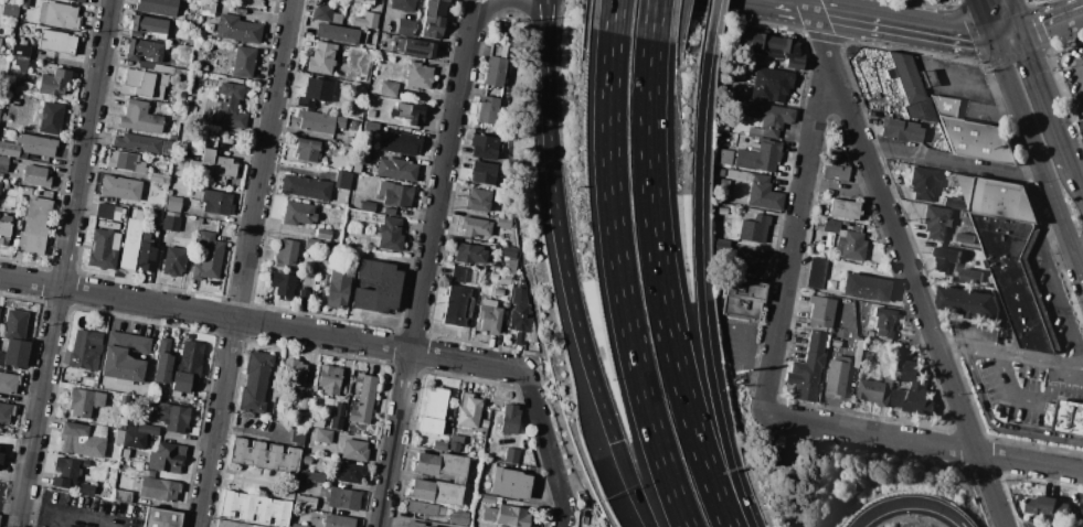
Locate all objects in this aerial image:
building: (1033, 0)
building: (75, 1)
building: (362, 2)
building: (23, 3)
road: (516, 3)
road: (784, 4)
building: (402, 6)
building: (157, 7)
building: (9, 9)
building: (206, 9)
road: (470, 11)
road: (819, 11)
building: (321, 12)
building: (42, 13)
road: (1082, 14)
building: (61, 17)
building: (433, 18)
road: (613, 18)
road: (854, 18)
road: (1011, 18)
building: (336, 19)
road: (548, 19)
road: (984, 20)
building: (367, 21)
road: (658, 22)
road: (710, 26)
building: (148, 28)
building: (404, 28)
road: (1050, 28)
building: (237, 30)
road: (1041, 31)
road: (971, 32)
road: (936, 33)
building: (338, 34)
traffic signals: (1019, 36)
road: (1005, 37)
traffic signals: (991, 40)
building: (0, 41)
building: (56, 42)
building: (769, 44)
building: (8, 46)
building: (412, 47)
building: (20, 51)
building: (142, 51)
building: (497, 52)
road: (548, 56)
building: (321, 58)
building: (20, 60)
road: (1018, 60)
building: (243, 61)
building: (187, 66)
building: (343, 66)
building: (203, 67)
building: (493, 72)
building: (12, 73)
building: (417, 76)
building: (362, 78)
road: (971, 82)
building: (53, 83)
building: (144, 84)
building: (771, 85)
building: (342, 87)
building: (910, 87)
building: (387, 89)
building: (315, 93)
road: (1042, 103)
road: (1016, 105)
building: (231, 106)
building: (187, 109)
building: (487, 110)
building: (407, 114)
building: (370, 115)
building: (139, 118)
building: (768, 118)
building: (51, 119)
building: (318, 122)
building: (353, 125)
building: (926, 125)
building: (1081, 125)
building: (371, 127)
building: (900, 130)
building: (754, 131)
building: (973, 136)
building: (323, 138)
building: (332, 140)
building: (137, 143)
building: (400, 143)
building: (28, 147)
building: (484, 147)
building: (306, 150)
building: (362, 155)
building: (724, 158)
building: (761, 158)
road: (952, 161)
building: (125, 162)
building: (2, 163)
building: (213, 164)
building: (835, 166)
building: (355, 168)
building: (396, 170)
building: (482, 172)
building: (721, 173)
building: (737, 175)
building: (0, 176)
building: (35, 176)
building: (158, 179)
building: (342, 180)
building: (922, 183)
building: (0, 185)
building: (723, 186)
building: (305, 187)
road: (1075, 187)
building: (119, 189)
building: (26, 191)
building: (169, 193)
building: (394, 194)
building: (763, 194)
building: (198, 195)
building: (498, 196)
building: (999, 198)
building: (173, 201)
building: (478, 201)
building: (215, 202)
building: (954, 204)
building: (153, 205)
building: (367, 206)
building: (172, 208)
building: (842, 209)
building: (389, 212)
building: (722, 212)
building: (109, 213)
building: (171, 214)
building: (297, 214)
building: (155, 215)
building: (503, 223)
building: (936, 223)
building: (169, 224)
building: (819, 224)
road: (1062, 225)
building: (830, 226)
building: (33, 227)
building: (475, 227)
building: (754, 228)
building: (4, 229)
building: (322, 234)
building: (389, 234)
building: (965, 238)
building: (129, 244)
building: (311, 244)
road: (794, 244)
building: (353, 245)
building: (849, 246)
building: (722, 247)
road: (564, 248)
building: (103, 249)
building: (509, 252)
building: (145, 254)
building: (285, 254)
building: (469, 254)
building: (208, 257)
building: (947, 260)
building: (172, 261)
building: (744, 261)
road: (64, 262)
road: (244, 262)
road: (907, 262)
building: (489, 266)
building: (988, 266)
building: (511, 268)
building: (815, 273)
road: (424, 275)
building: (457, 275)
building: (493, 276)
building: (971, 276)
building: (992, 279)
building: (1018, 279)
building: (505, 280)
building: (283, 286)
road: (622, 286)
building: (376, 288)
building: (864, 288)
building: (337, 289)
road: (1057, 290)
road: (663, 291)
road: (701, 291)
building: (498, 292)
building: (302, 297)
building: (741, 299)
building: (488, 303)
building: (969, 303)
building: (457, 306)
building: (506, 308)
building: (0, 310)
building: (820, 311)
building: (519, 314)
building: (489, 319)
building: (883, 323)
building: (532, 334)
road: (331, 337)
building: (14, 340)
road: (741, 342)
building: (836, 343)
building: (84, 351)
road: (996, 355)
building: (126, 357)
building: (868, 357)
building: (840, 359)
building: (162, 362)
building: (902, 364)
road: (1069, 364)
road: (851, 367)
building: (187, 368)
building: (807, 368)
building: (293, 375)
building: (835, 378)
building: (329, 379)
building: (254, 381)
building: (8, 383)
parking lot: (1028, 388)
building: (877, 390)
building: (914, 392)
building: (163, 397)
road: (1027, 399)
building: (124, 400)
building: (362, 401)
building: (83, 402)
building: (304, 404)
building: (1051, 407)
building: (339, 410)
building: (434, 411)
building: (467, 411)
building: (161, 412)
building: (6, 413)
building: (1070, 418)
building: (177, 419)
building: (509, 419)
building: (336, 423)
building: (484, 423)
building: (319, 424)
road: (999, 426)
building: (130, 427)
building: (146, 429)
road: (612, 429)
building: (444, 430)
building: (297, 434)
building: (322, 437)
building: (118, 438)
building: (455, 439)
building: (81, 440)
building: (132, 440)
road: (923, 443)
building: (439, 445)
building: (454, 448)
building: (353, 451)
building: (1, 453)
building: (264, 455)
building: (511, 455)
building: (168, 458)
building: (84, 463)
building: (442, 465)
building: (64, 472)
building: (349, 472)
building: (150, 474)
road: (1081, 476)
building: (312, 477)
building: (509, 484)
road: (633, 484)
building: (86, 490)
building: (158, 490)
building: (435, 492)
building: (121, 496)
road: (10, 497)
building: (342, 498)
building: (487, 499)
building: (305, 502)
road: (911, 505)
building: (1048, 506)
building: (255, 508)
building: (421, 508)
road: (73, 512)
building: (489, 515)
building: (512, 516)
road: (563, 517)
building: (161, 518)
building: (458, 520)
building: (338, 521)
building: (229, 524)
building: (414, 524)
building: (486, 524)
parking lot: (1036, 524)
building: (68, 525)
building: (296, 525)
building: (61, 526)
building: (253, 526)

